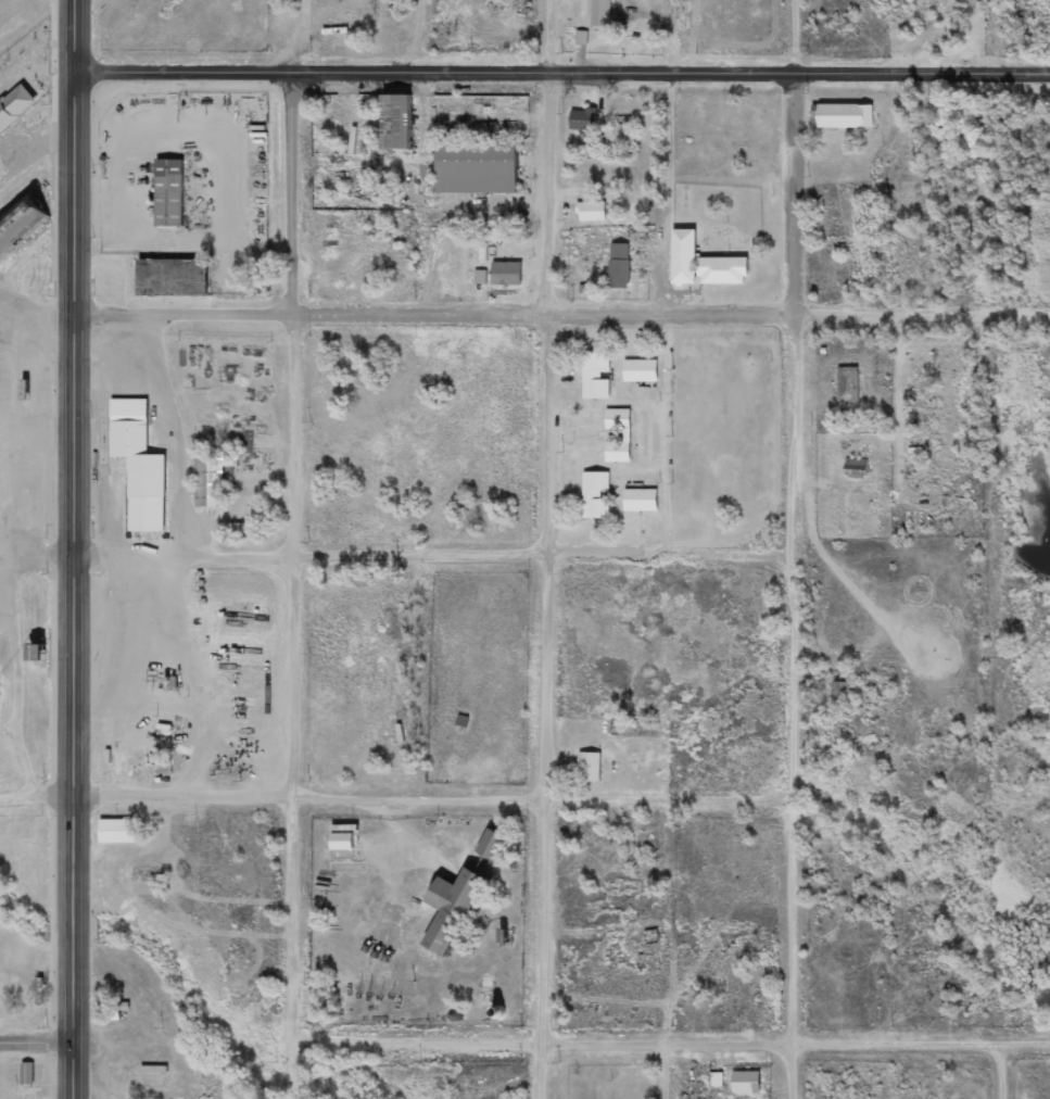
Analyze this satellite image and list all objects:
building: (602, 14)
building: (582, 38)
road: (562, 75)
building: (15, 108)
building: (846, 116)
building: (584, 119)
building: (396, 121)
building: (477, 168)
building: (169, 192)
building: (593, 212)
building: (21, 225)
building: (621, 266)
building: (507, 274)
building: (174, 276)
building: (481, 277)
road: (524, 318)
building: (642, 371)
building: (597, 376)
building: (849, 384)
building: (628, 435)
building: (140, 465)
building: (857, 467)
building: (213, 478)
building: (596, 495)
building: (642, 501)
road: (81, 521)
road: (547, 548)
road: (797, 549)
road: (399, 558)
road: (294, 588)
building: (591, 767)
road: (395, 803)
building: (118, 831)
building: (342, 842)
building: (493, 845)
building: (453, 909)
building: (109, 1013)
road: (671, 1043)
road: (37, 1045)
road: (74, 1072)
road: (1004, 1072)
building: (28, 1074)
building: (718, 1081)
building: (747, 1083)

